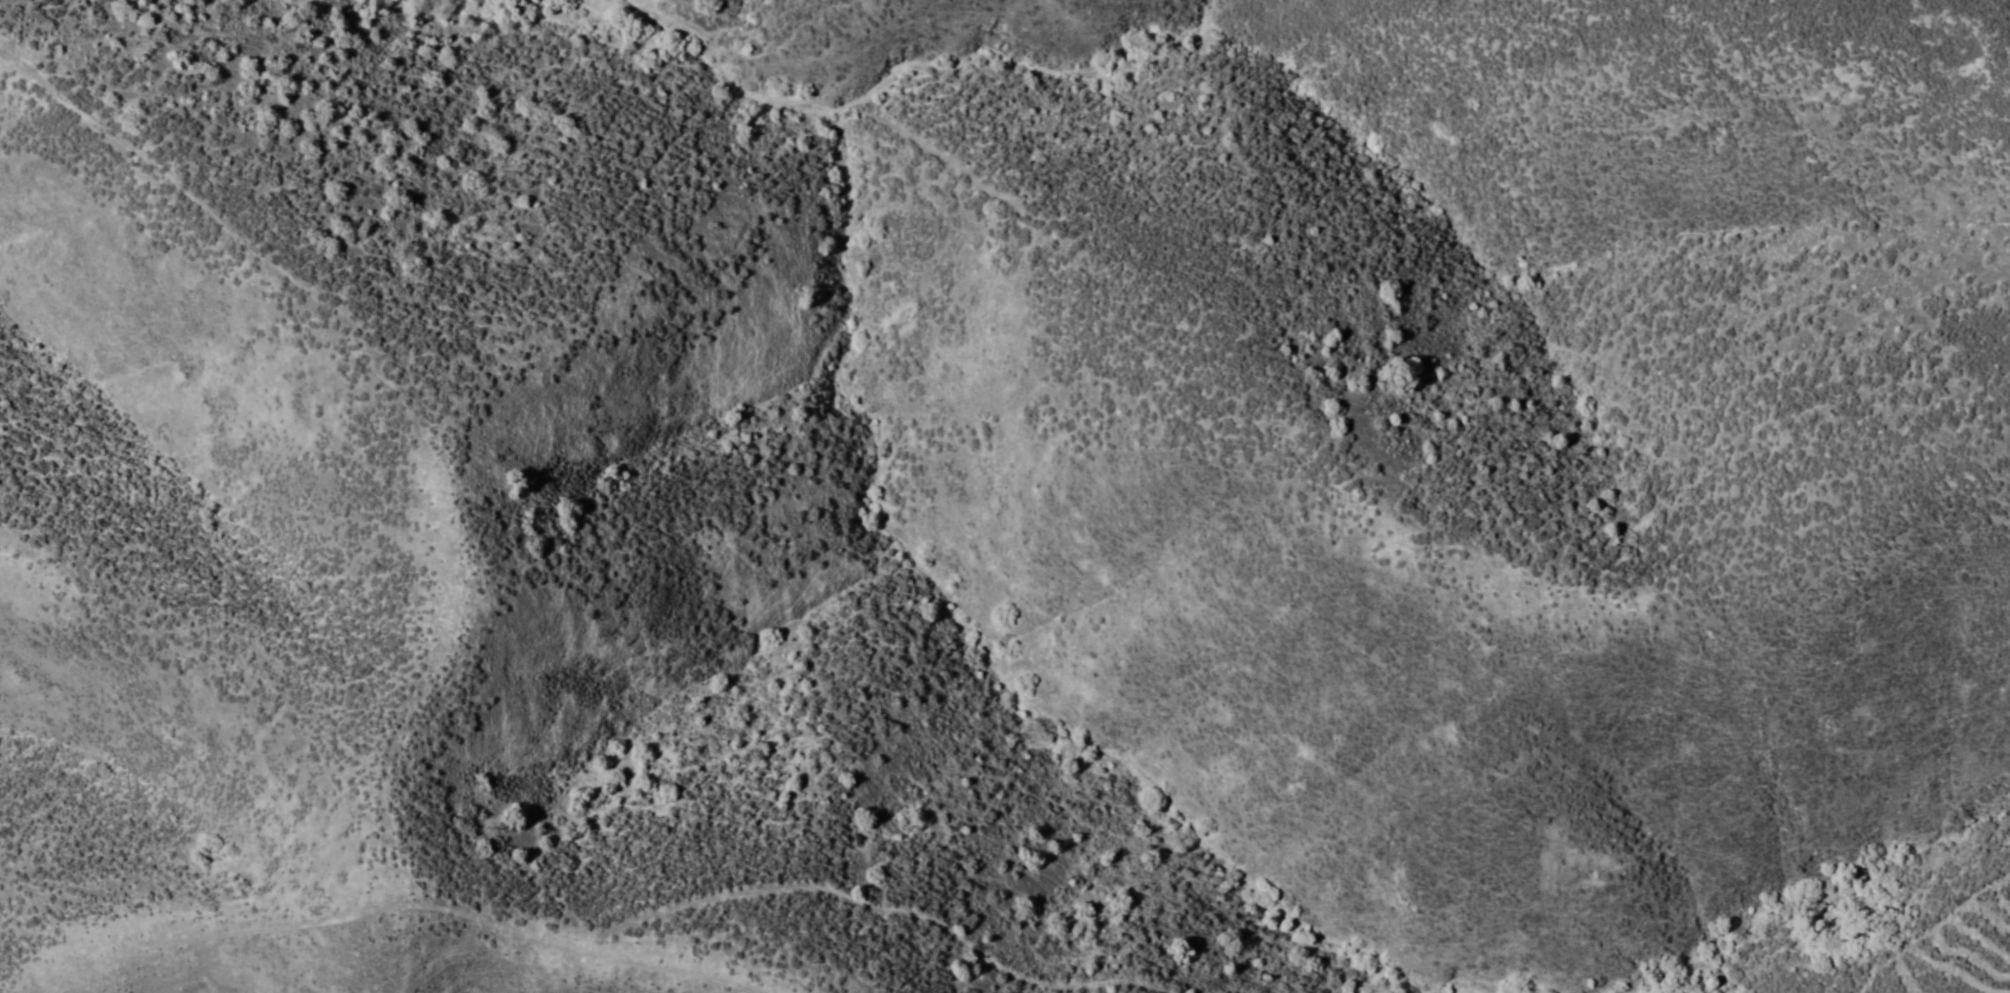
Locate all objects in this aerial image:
road: (382, 981)

